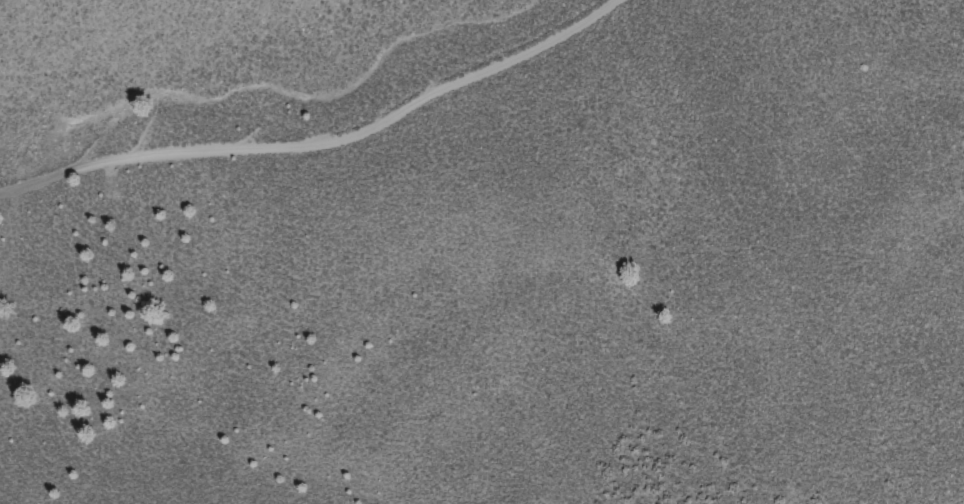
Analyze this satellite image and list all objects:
road: (322, 140)

